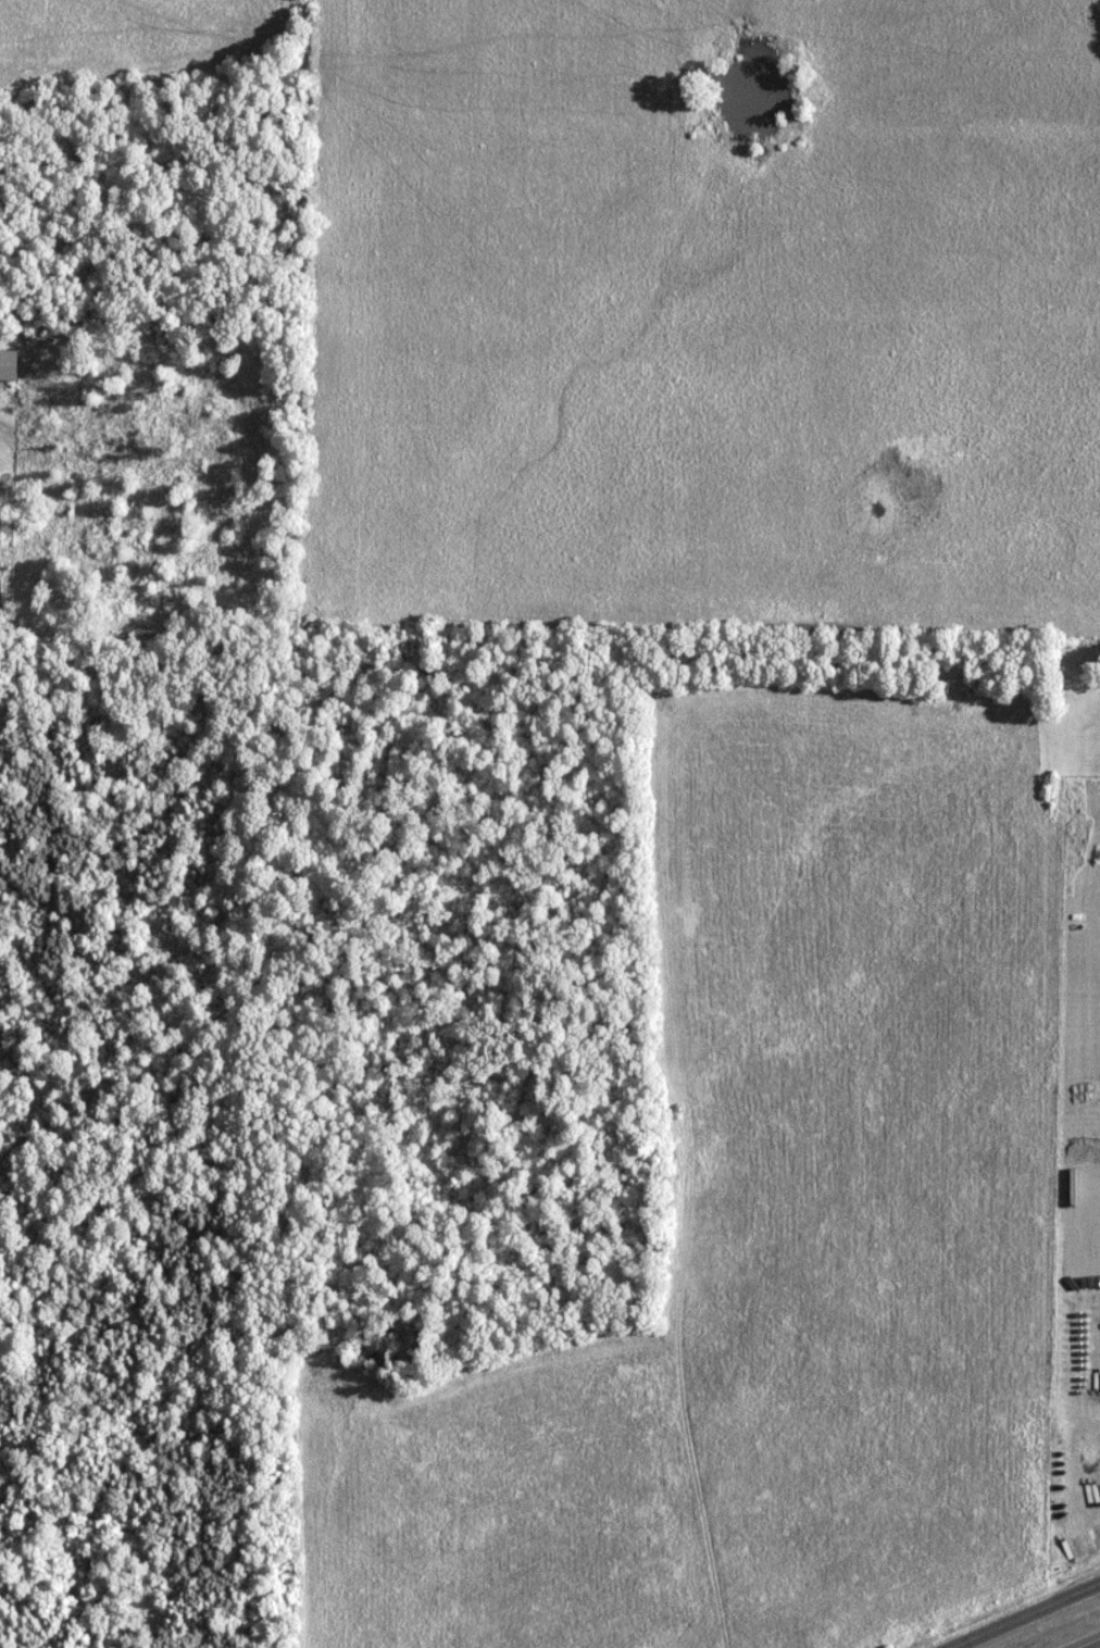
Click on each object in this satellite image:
building: (8, 364)
crop: (762, 1233)
road: (1017, 1612)

